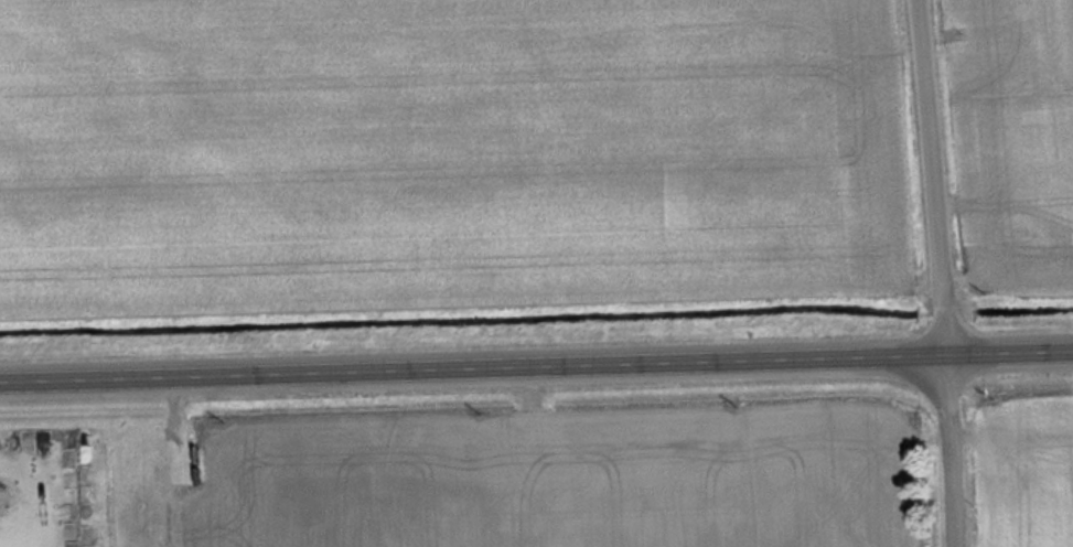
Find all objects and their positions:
road: (927, 176)
road: (536, 366)
road: (949, 450)

